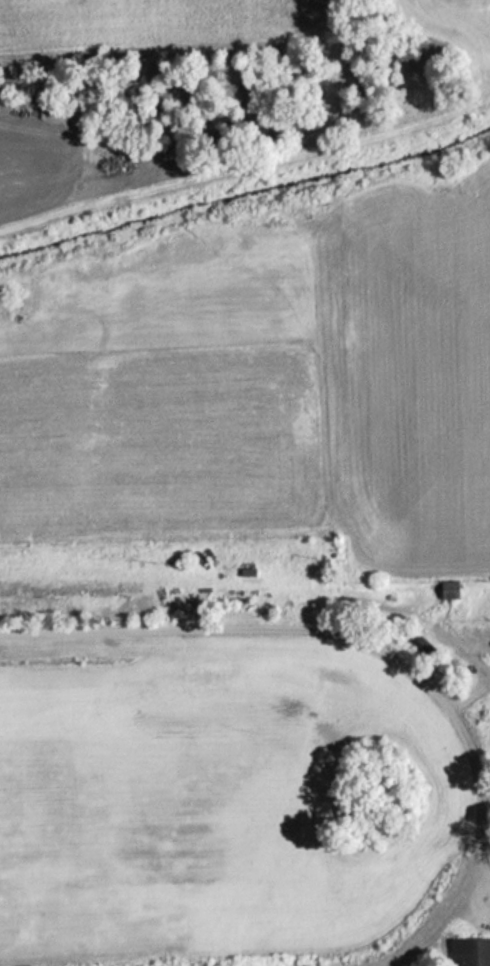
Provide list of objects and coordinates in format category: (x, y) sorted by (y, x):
building: (246, 570)
building: (447, 588)
road: (489, 671)
road: (479, 871)
building: (469, 951)

